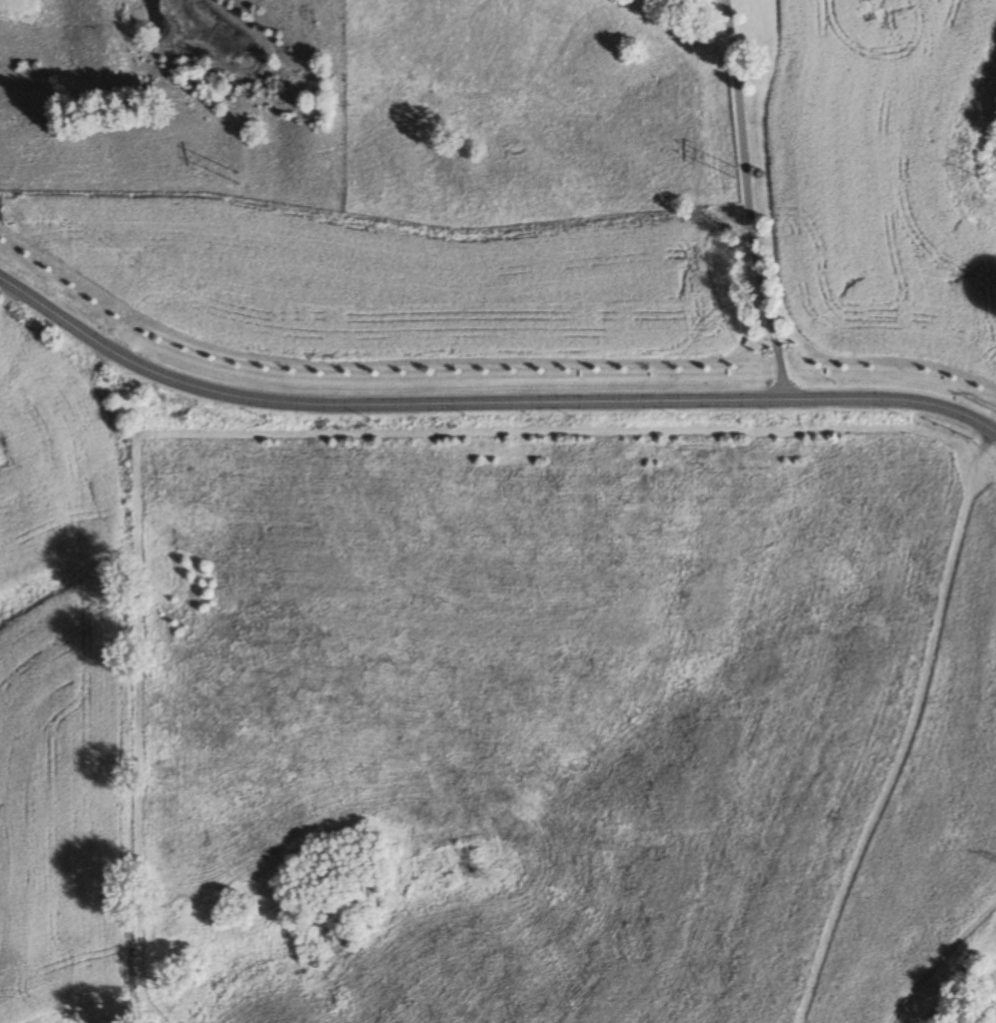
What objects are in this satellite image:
crop: (18, 8)
crop: (887, 171)
power tower: (734, 174)
power tower: (242, 178)
road: (749, 202)
crop: (390, 280)
road: (896, 401)
road: (379, 404)
crop: (63, 689)

